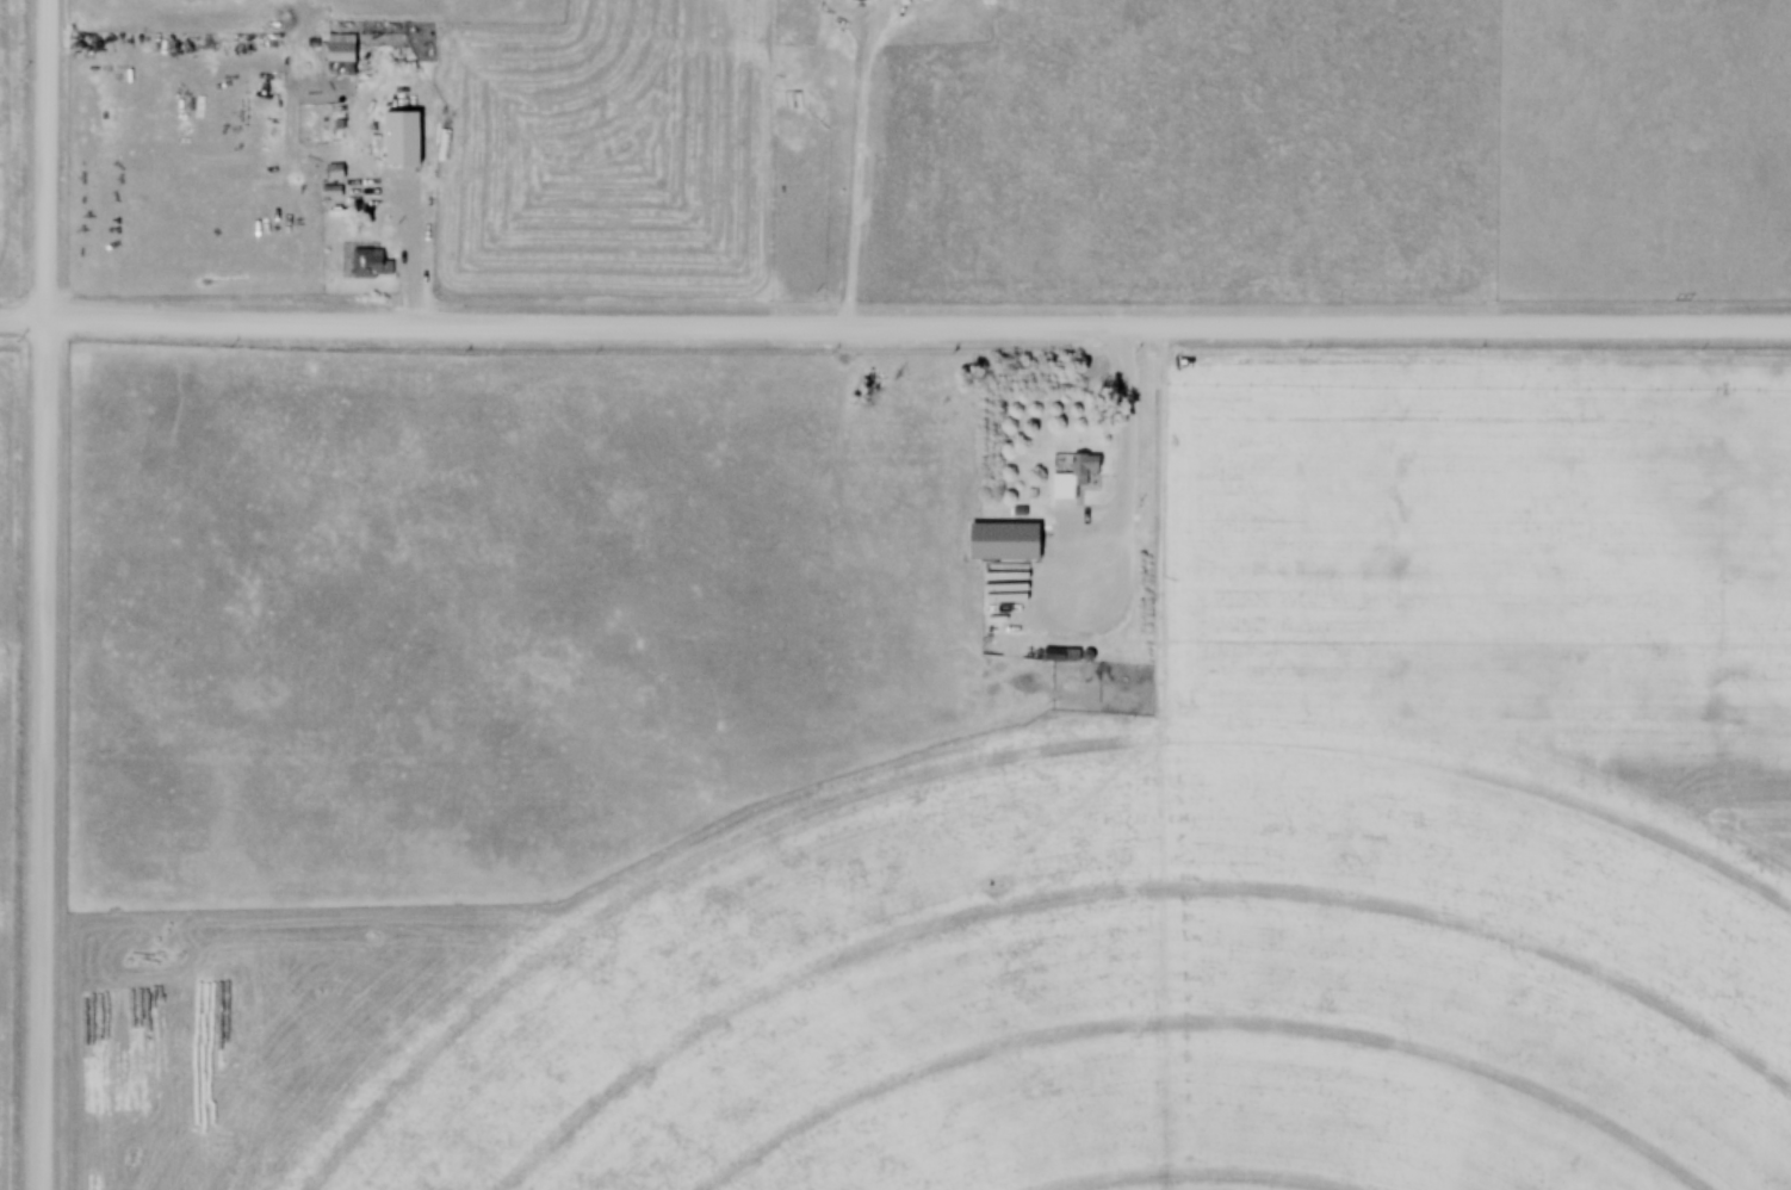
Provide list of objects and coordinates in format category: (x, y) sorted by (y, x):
building: (860, 0)
building: (340, 55)
building: (327, 107)
building: (324, 132)
road: (851, 171)
building: (328, 191)
road: (409, 243)
building: (367, 262)
road: (894, 333)
road: (1124, 422)
building: (1077, 477)
road: (41, 595)
building: (1065, 653)

